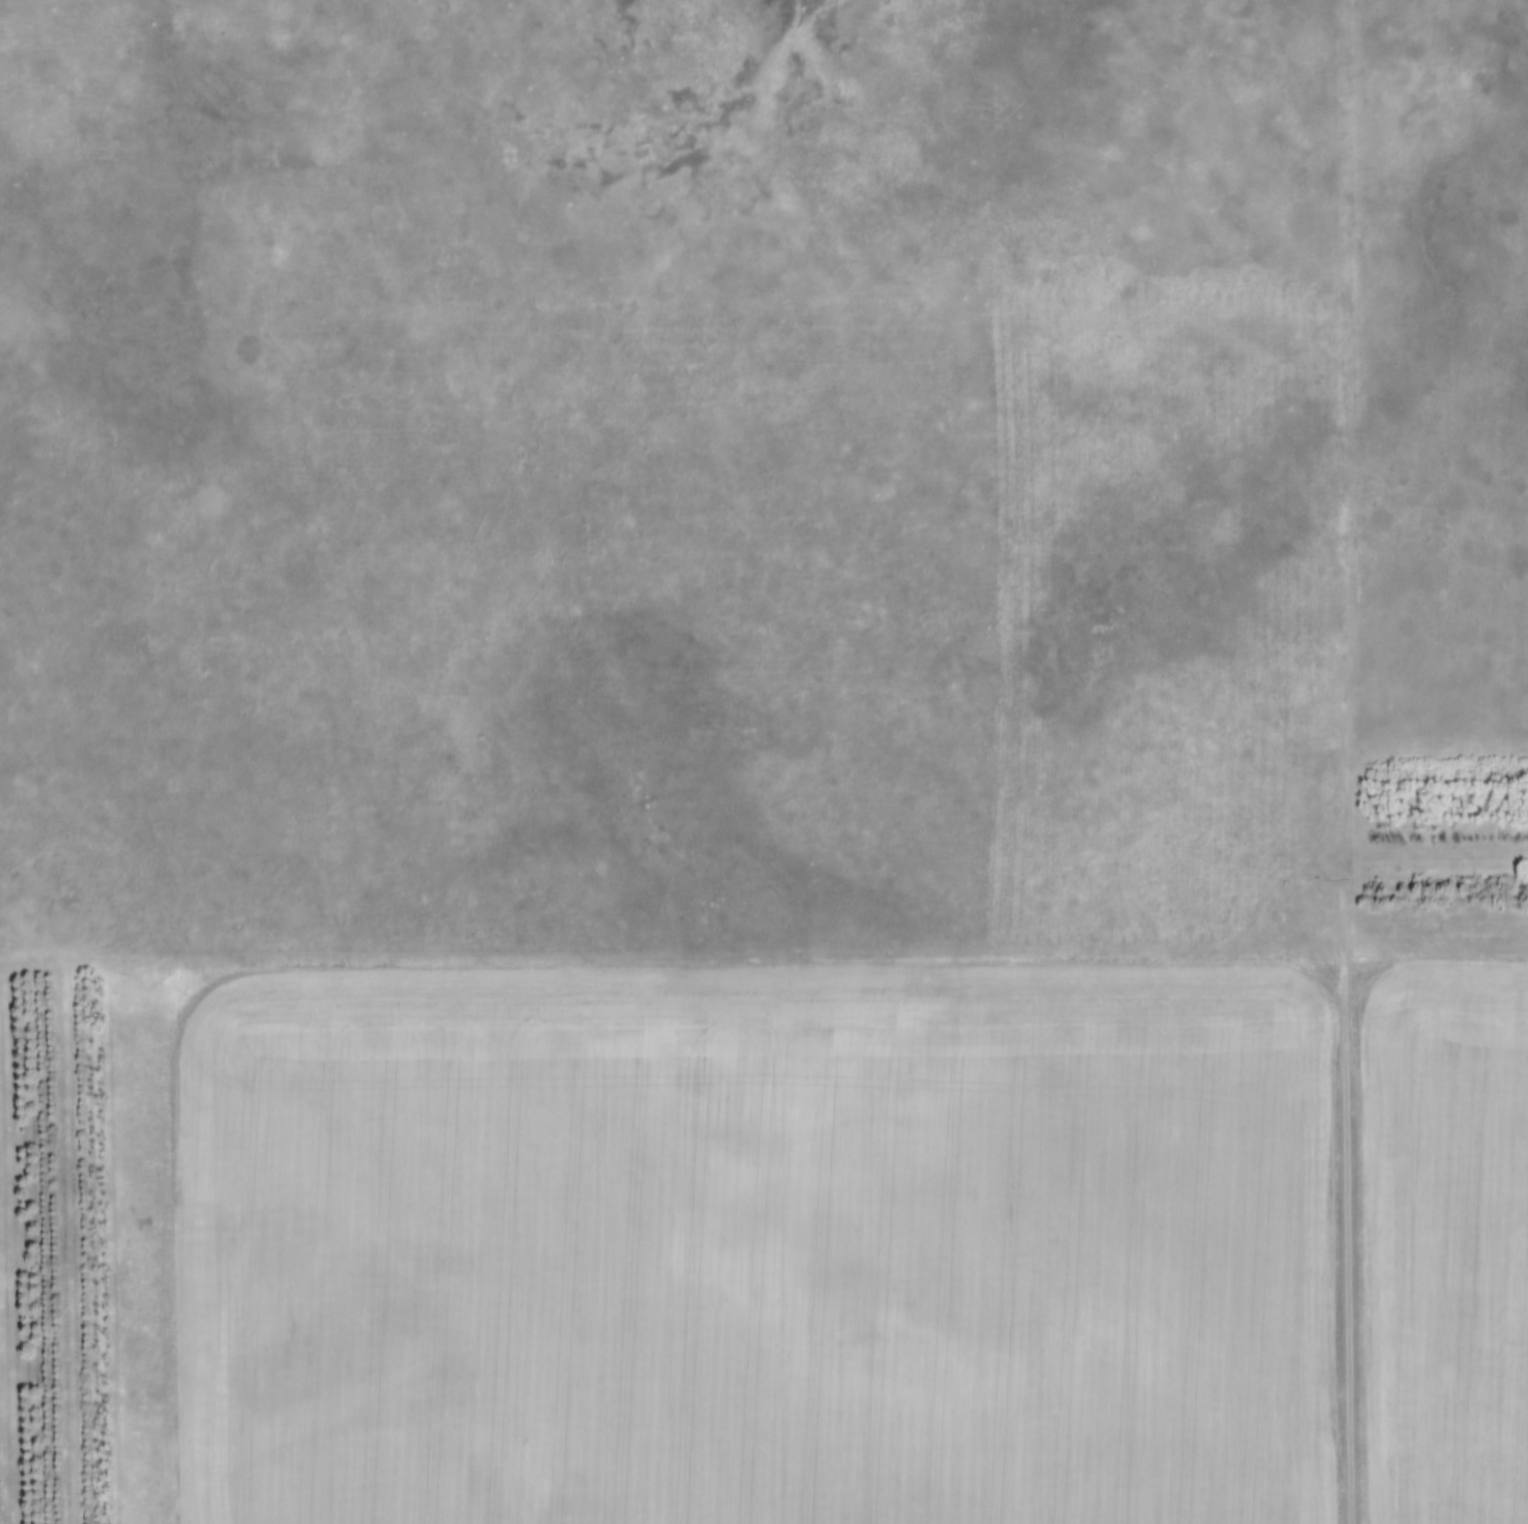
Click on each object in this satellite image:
road: (1352, 1264)

